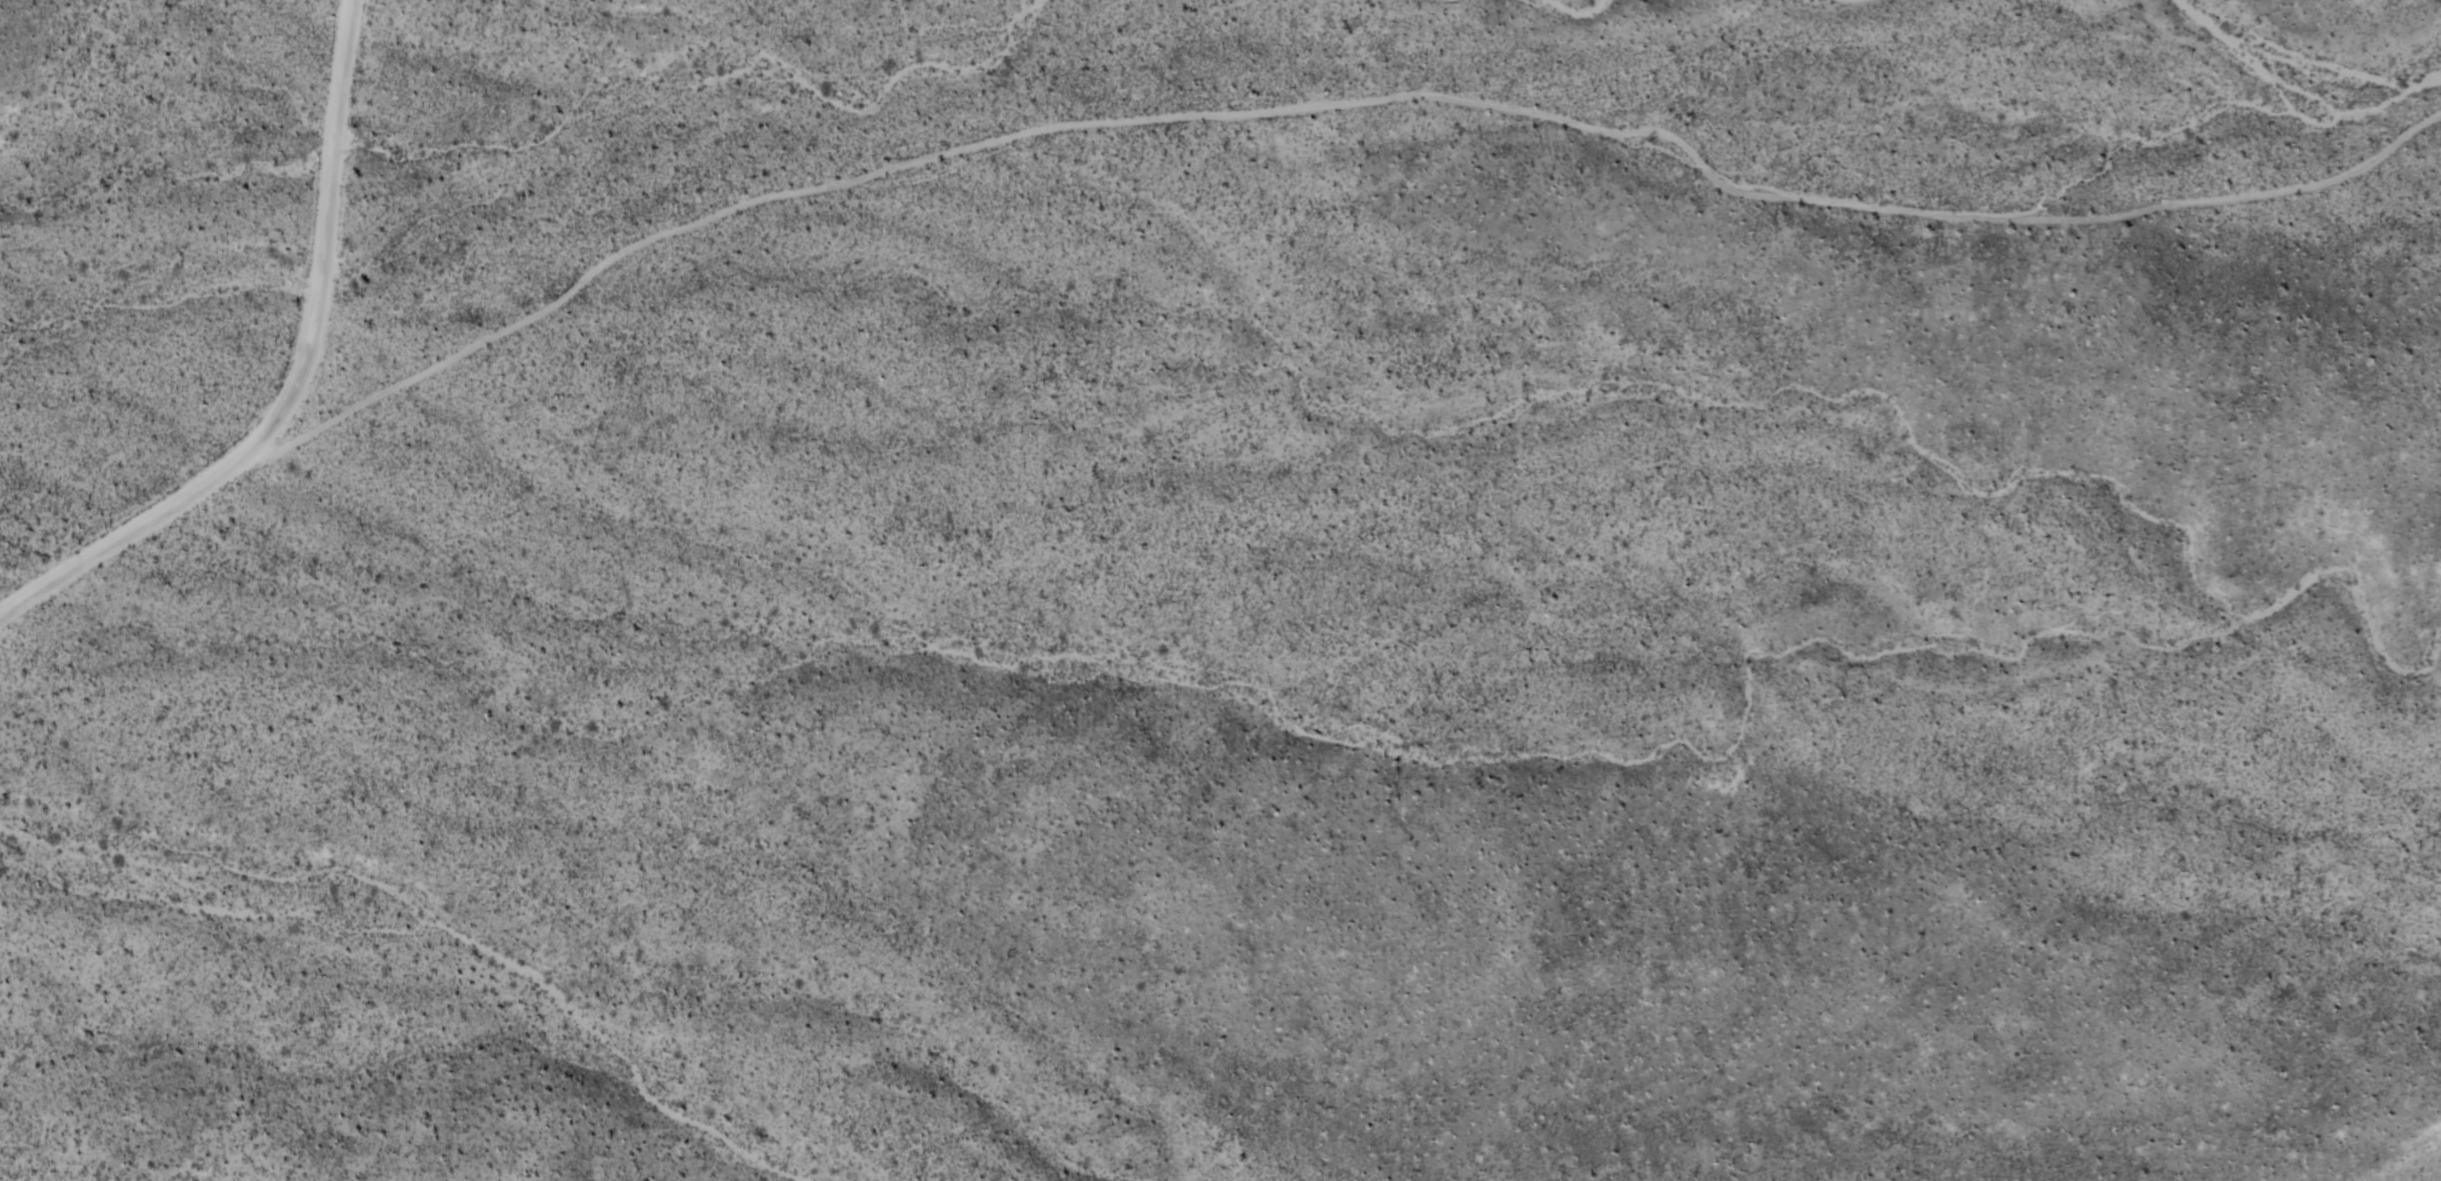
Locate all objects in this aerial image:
road: (298, 379)

